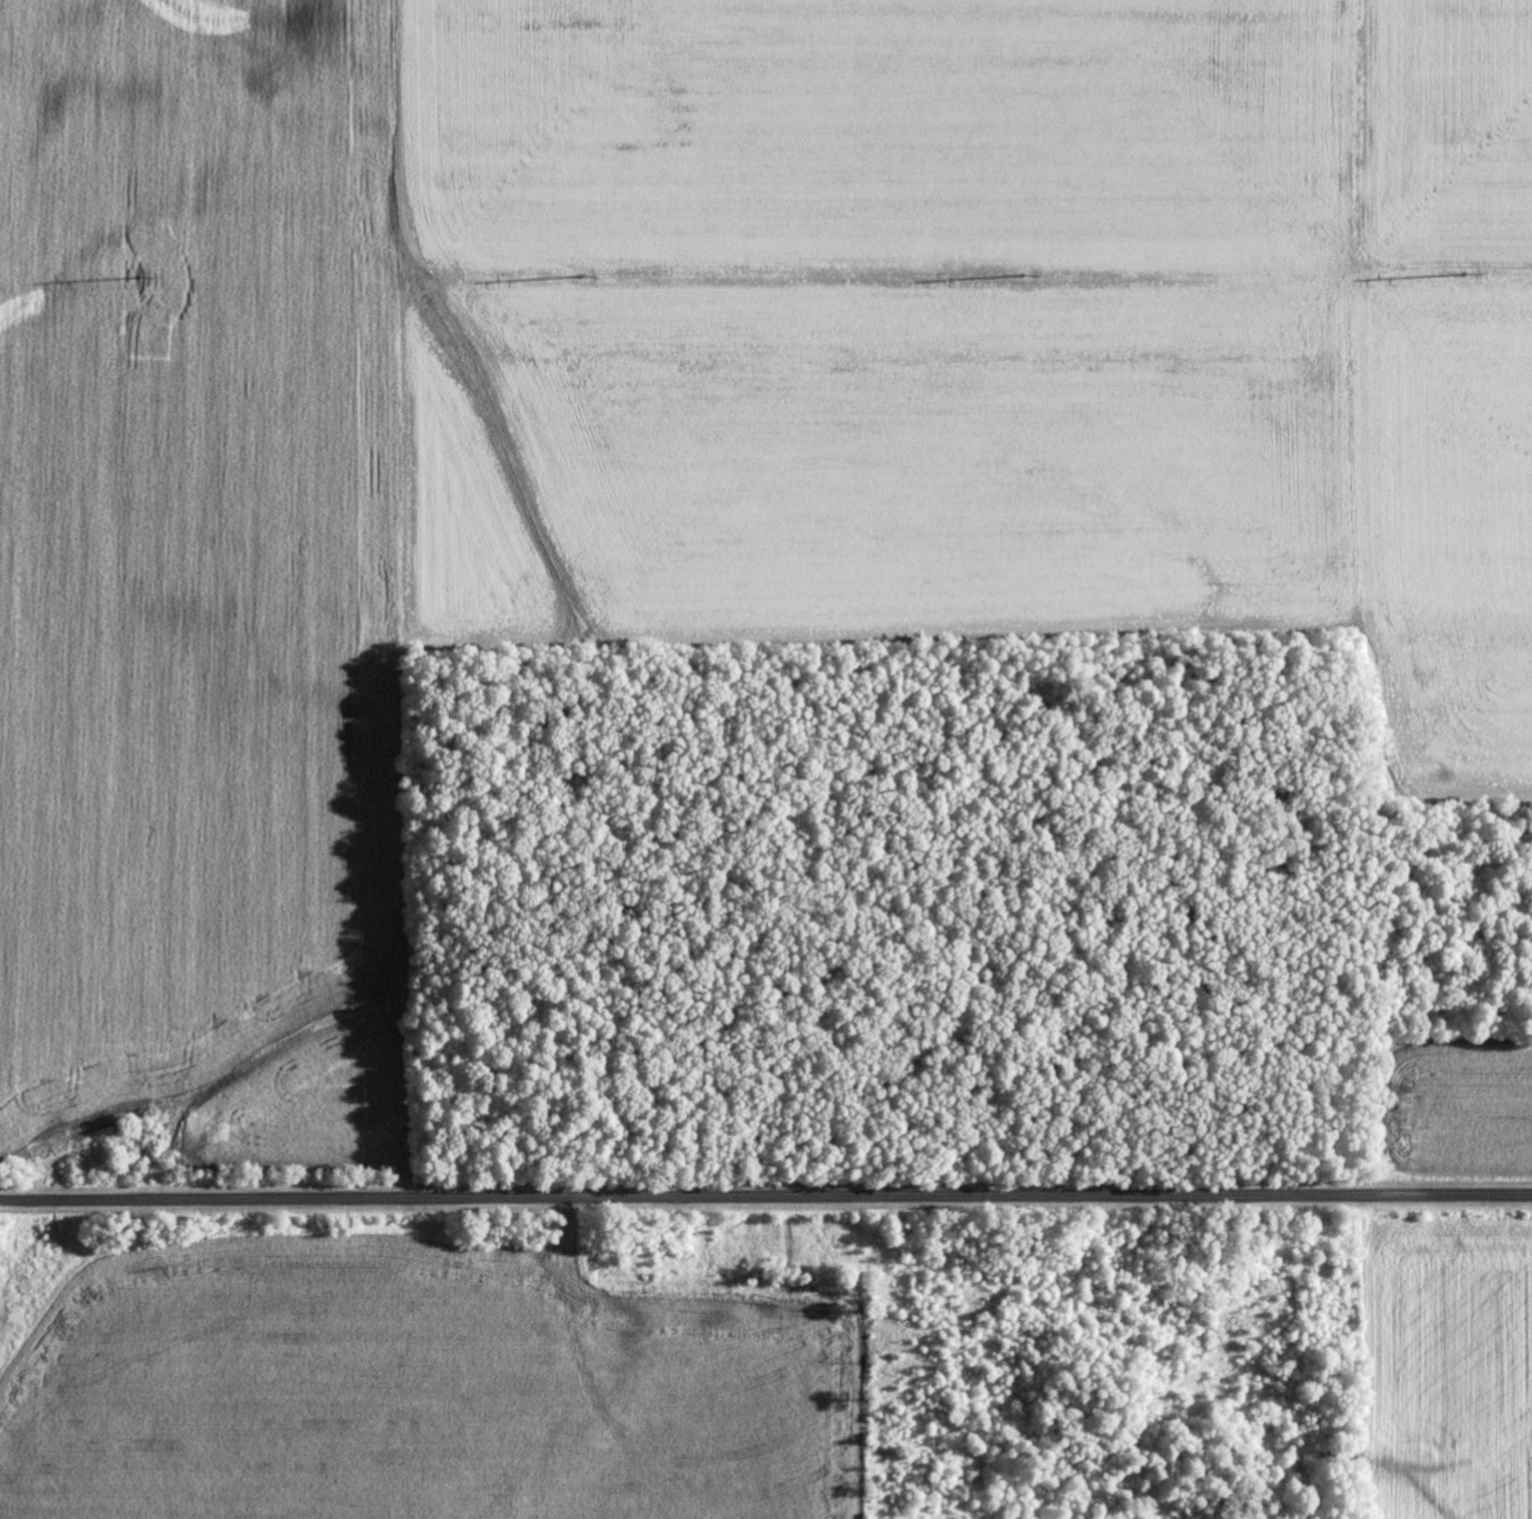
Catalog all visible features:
road: (765, 1197)

